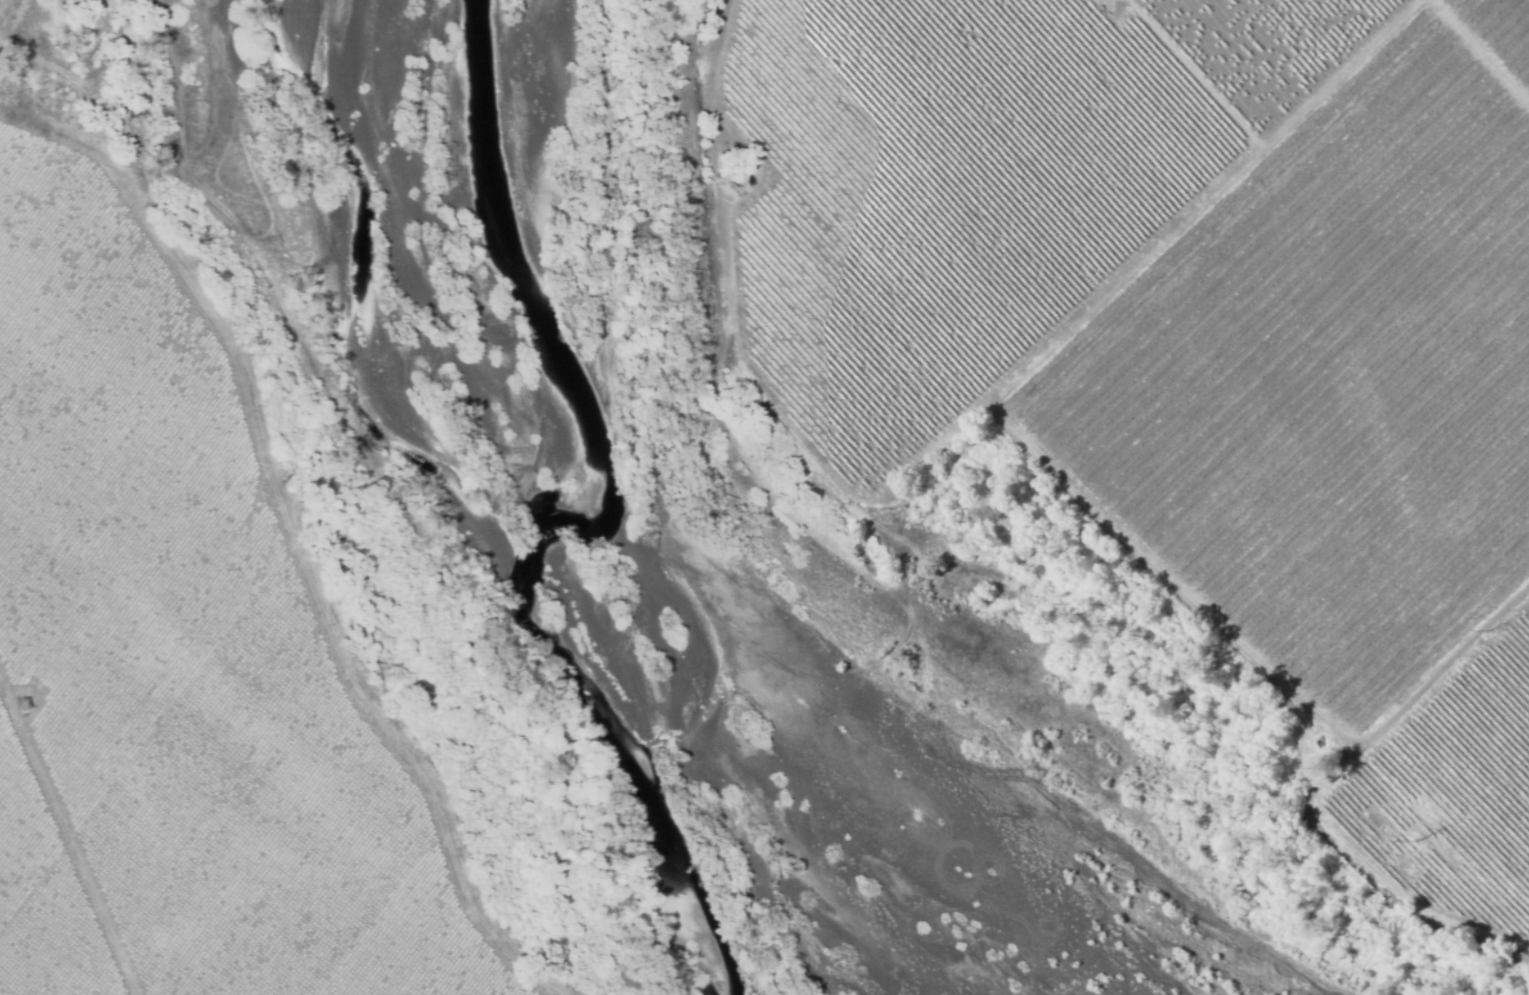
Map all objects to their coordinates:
road: (8, 11)
road: (35, 122)
road: (208, 131)
river: (470, 515)
road: (317, 566)
building: (21, 705)
road: (65, 850)

